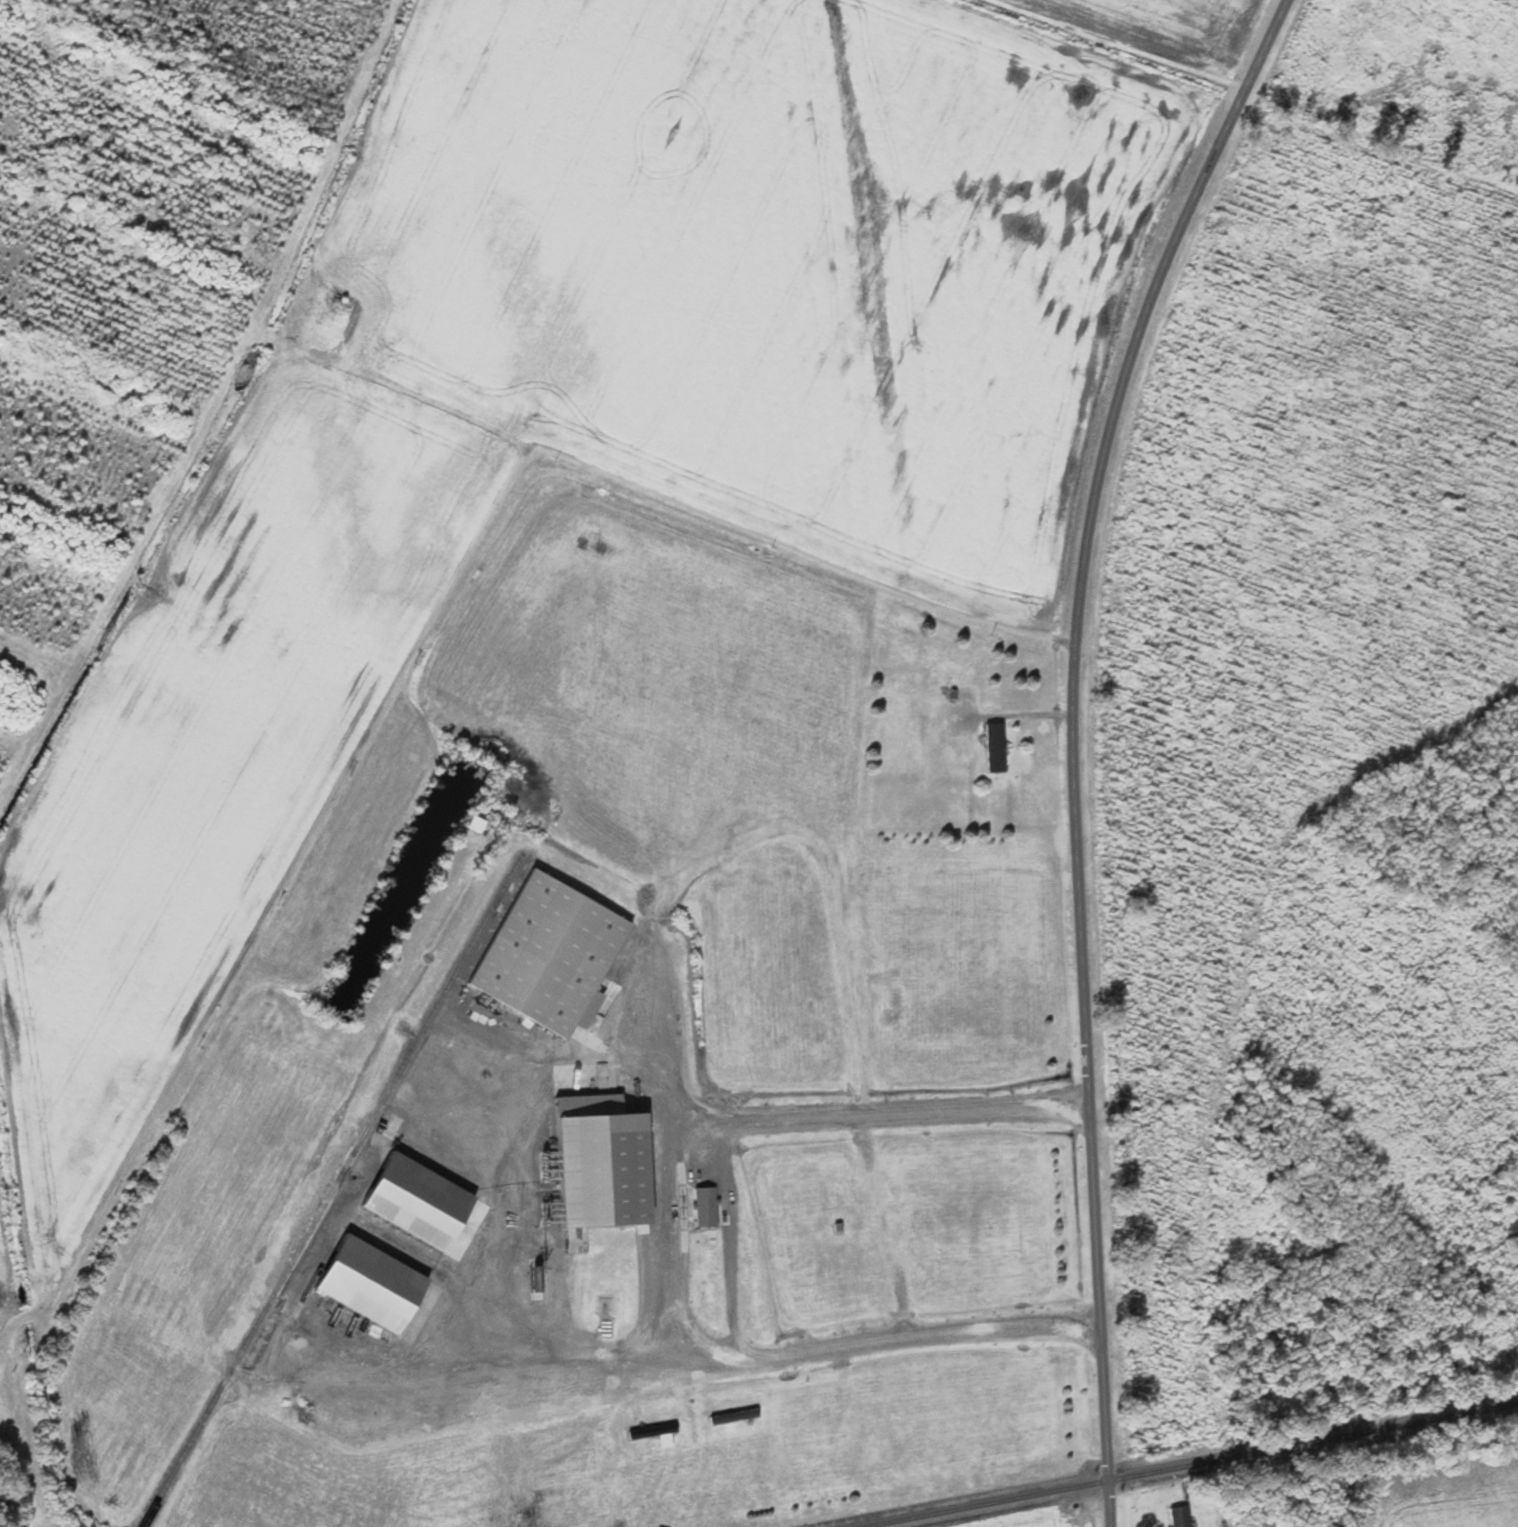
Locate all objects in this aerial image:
road: (1072, 744)
building: (995, 746)
building: (552, 954)
building: (604, 1163)
railway: (330, 1191)
building: (420, 1202)
building: (705, 1208)
road: (667, 1246)
building: (373, 1285)
building: (733, 1417)
building: (655, 1434)
railway: (1192, 1465)
building: (1180, 1517)

